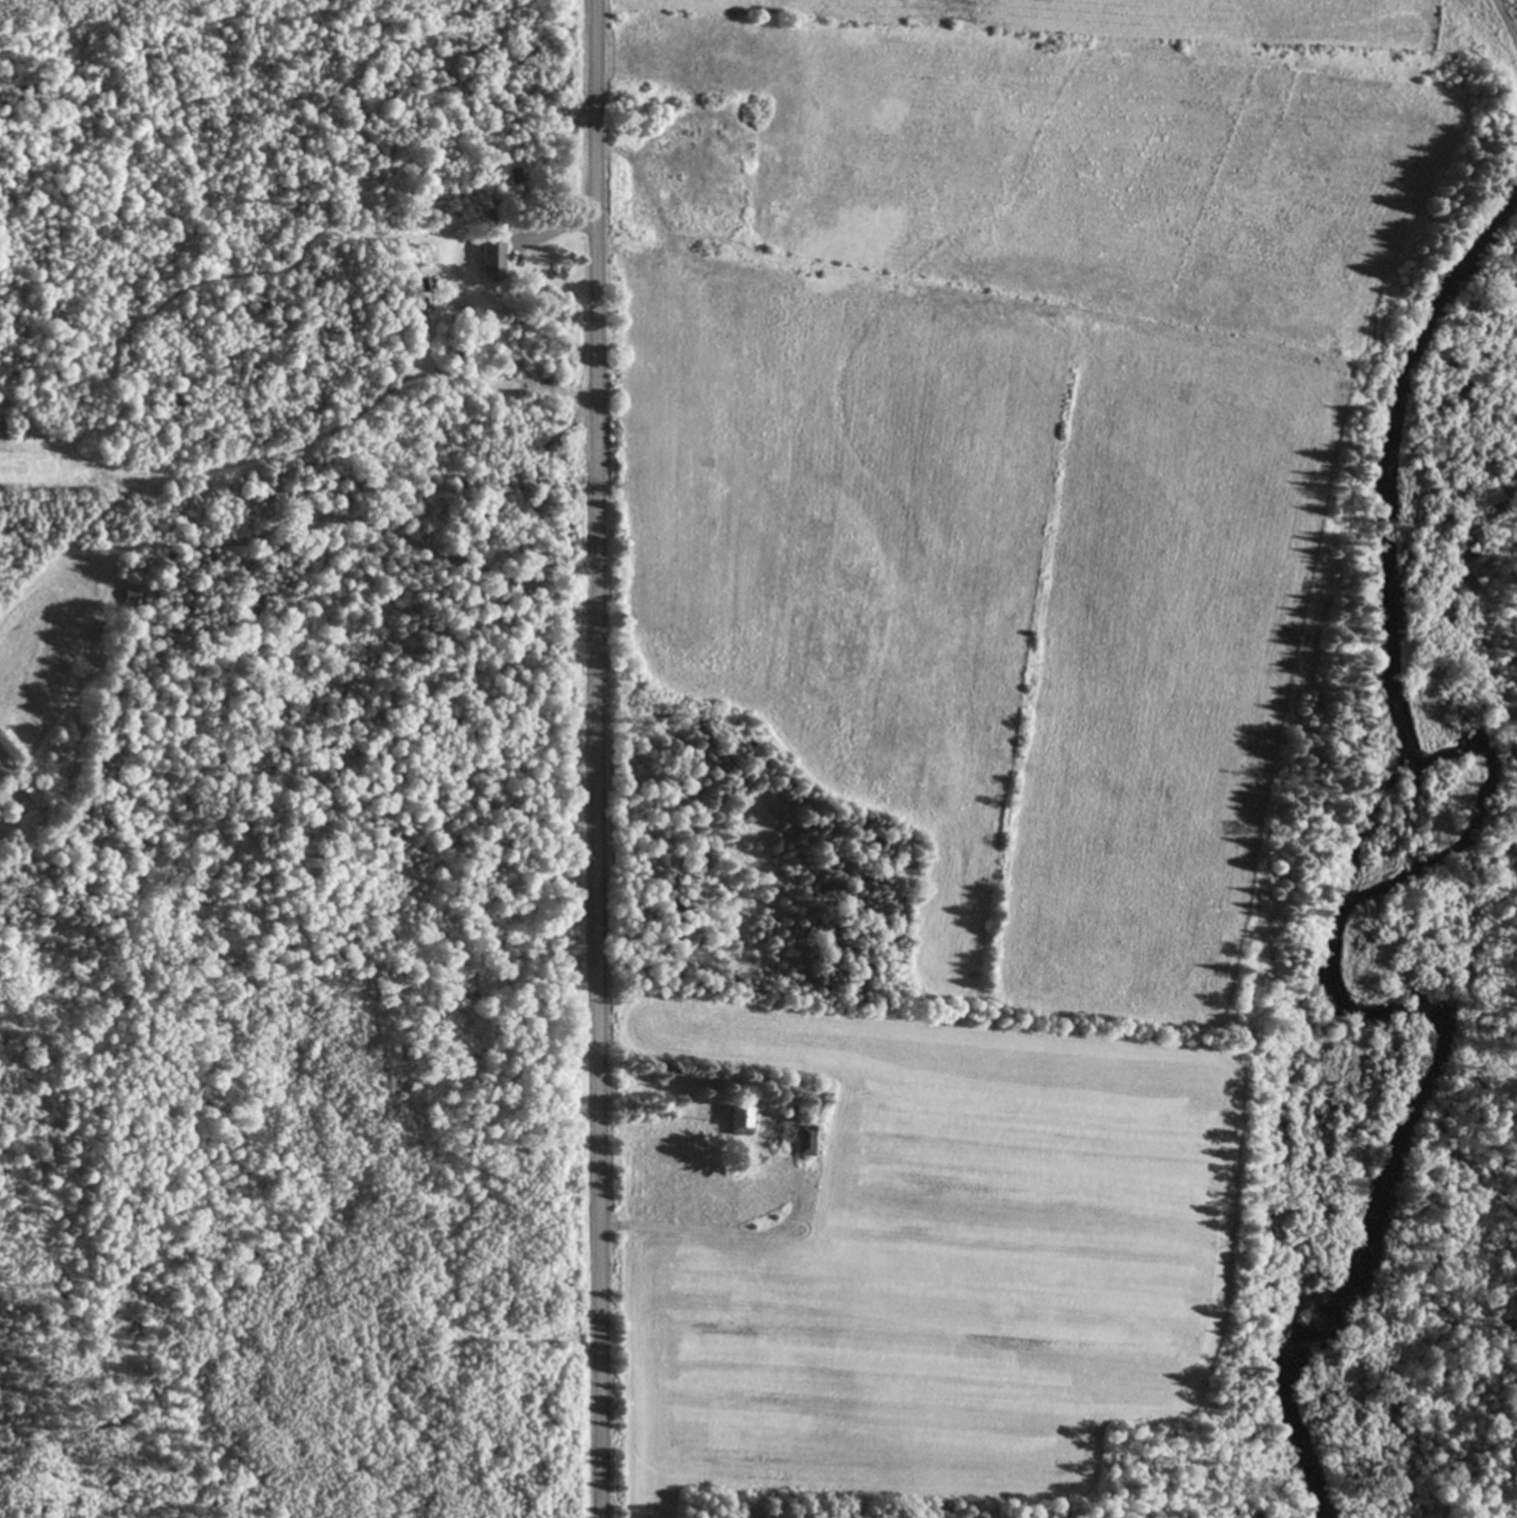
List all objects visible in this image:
crop: (1058, 45)
road: (556, 231)
building: (491, 259)
road: (407, 539)
building: (129, 596)
road: (596, 758)
river: (1390, 870)
building: (737, 1119)
building: (803, 1139)
road: (695, 1227)

